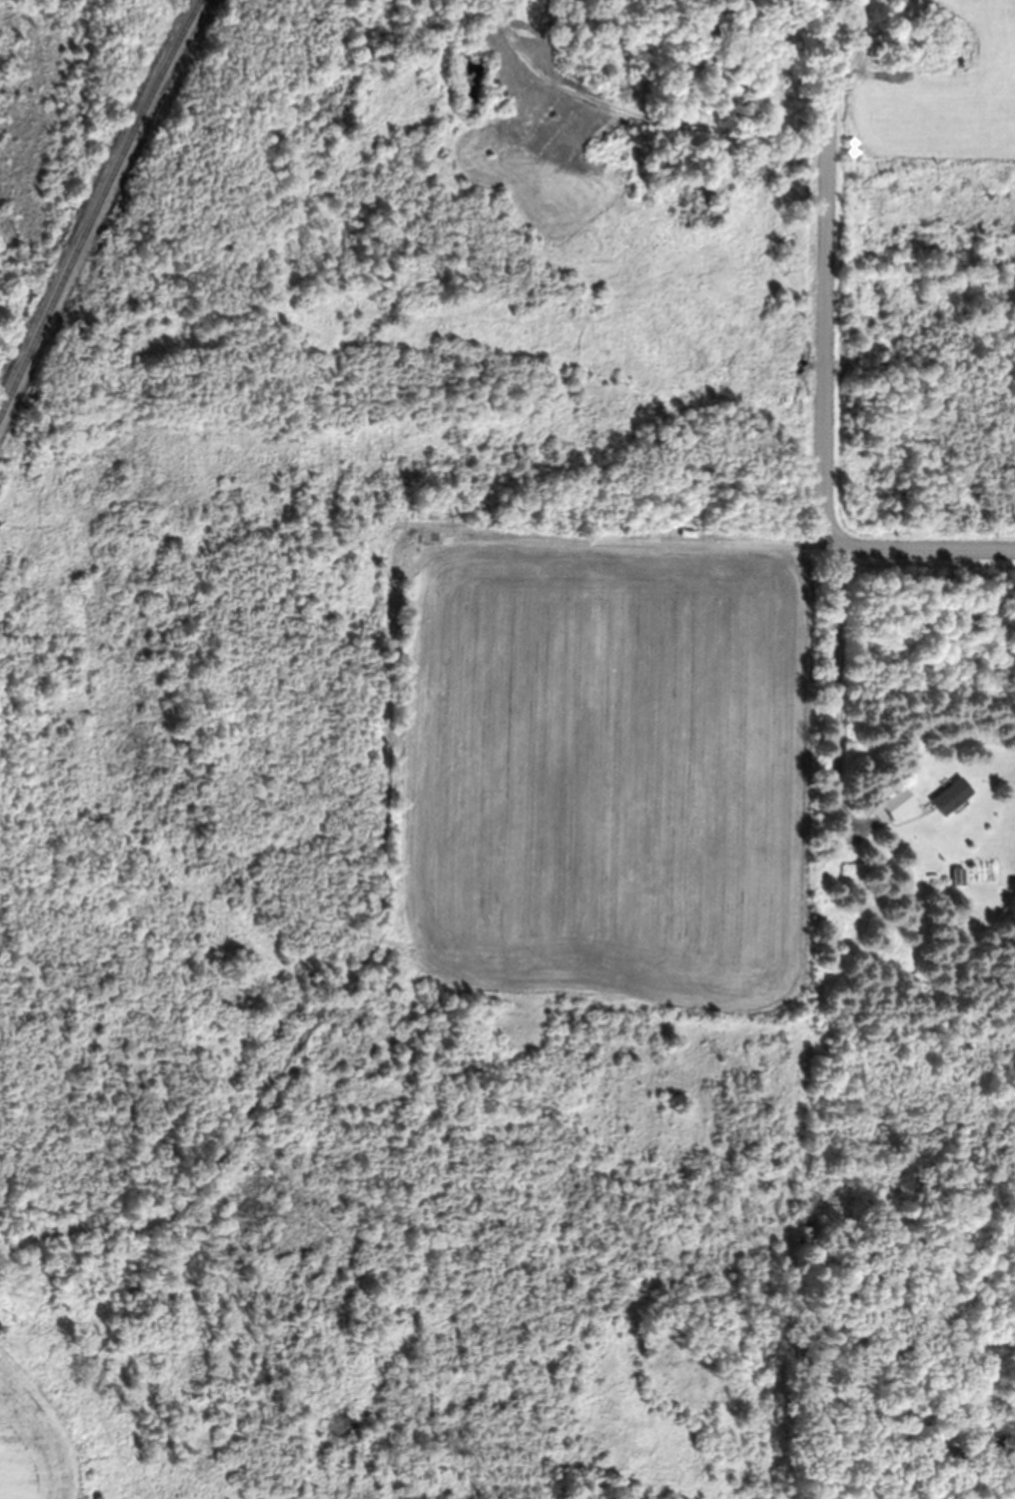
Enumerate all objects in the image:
road: (633, 115)
railway: (96, 205)
road: (829, 417)
building: (951, 796)

